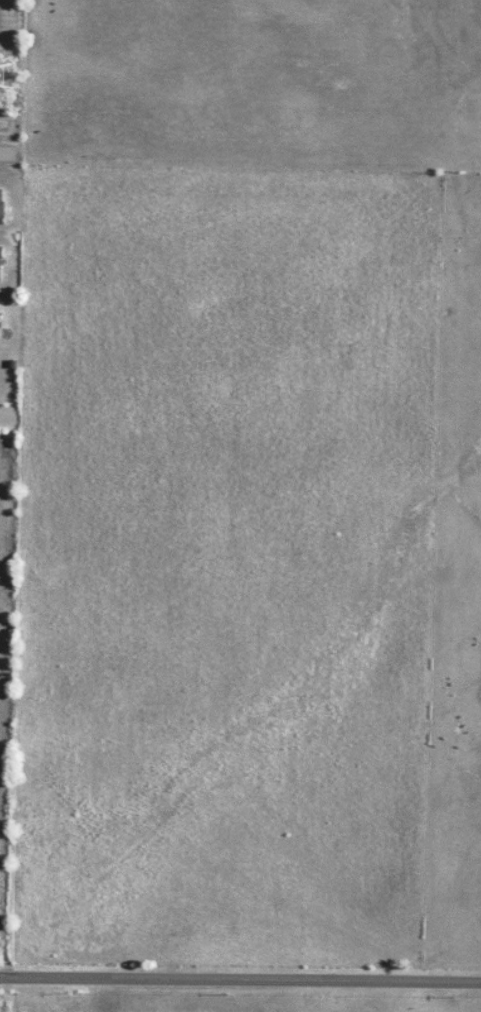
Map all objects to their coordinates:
road: (1, 155)
road: (240, 981)

